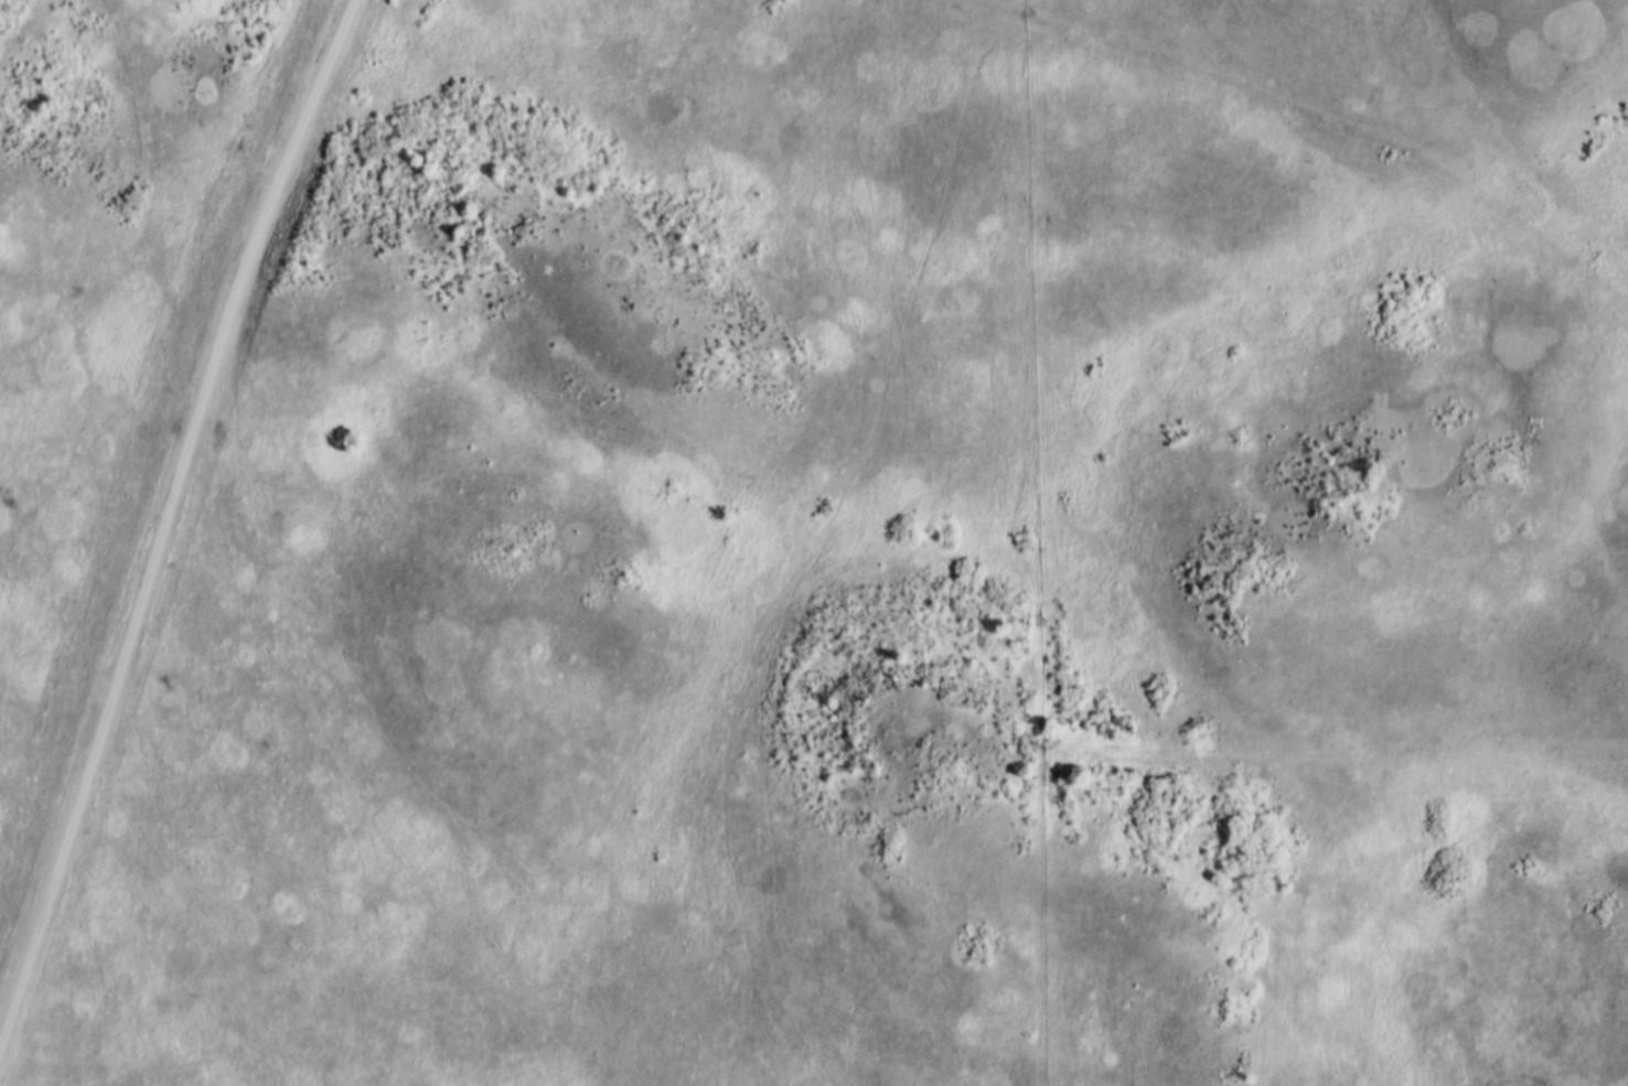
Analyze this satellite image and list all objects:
road: (160, 506)

